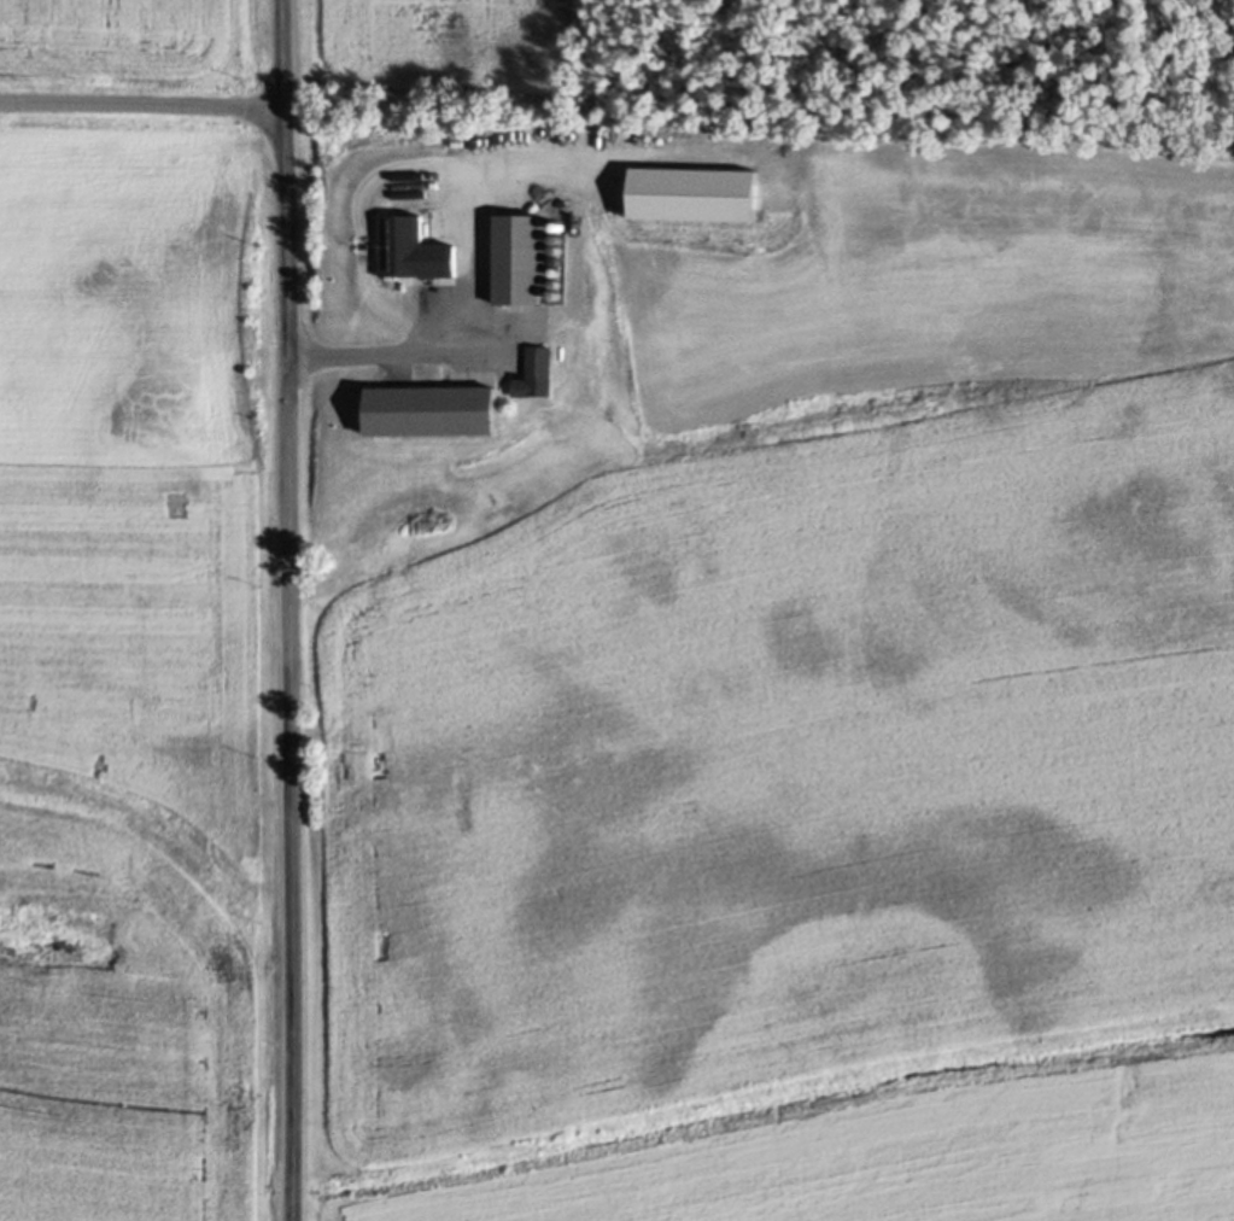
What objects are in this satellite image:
road: (140, 106)
road: (684, 148)
building: (691, 195)
building: (408, 249)
building: (516, 258)
building: (533, 372)
building: (426, 409)
road: (288, 609)

